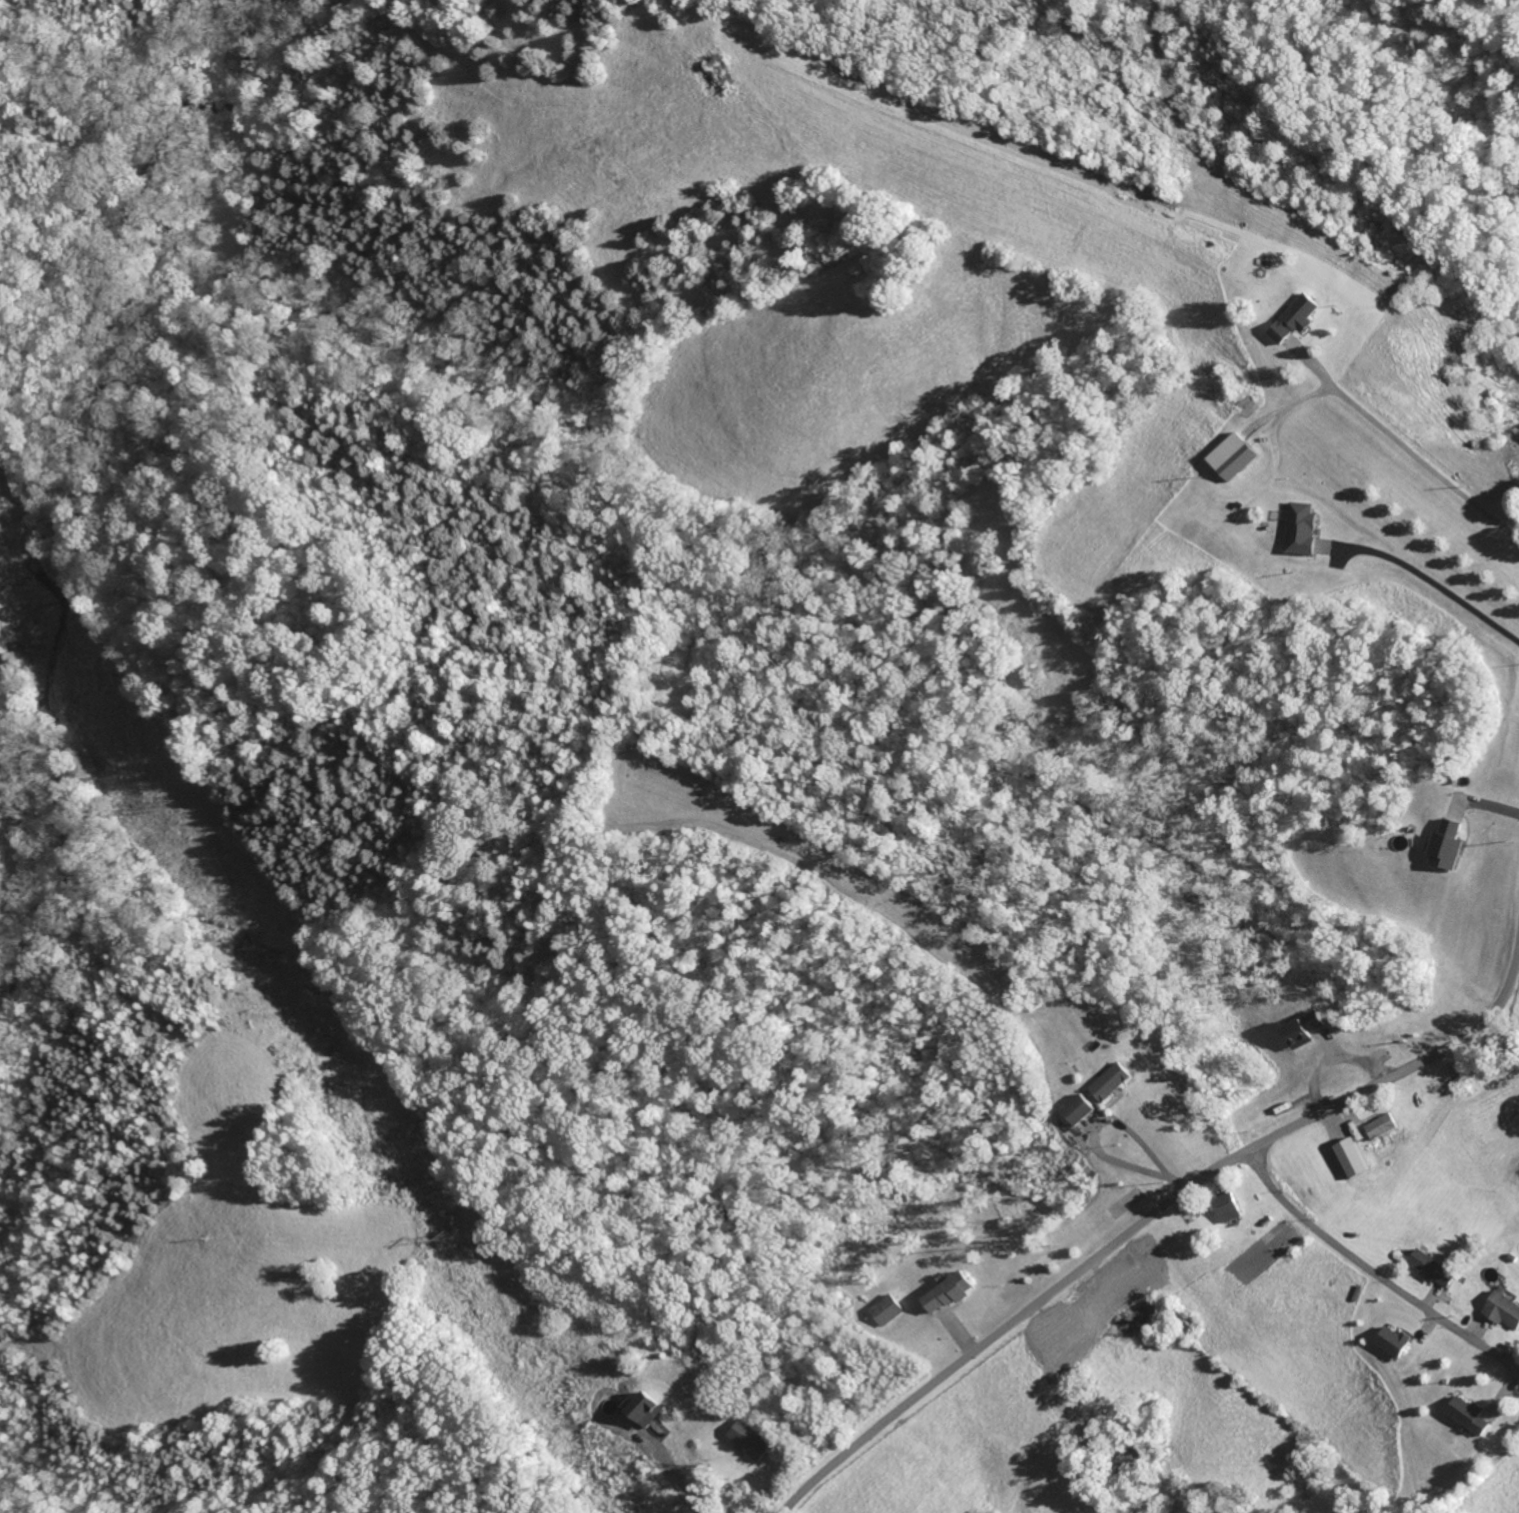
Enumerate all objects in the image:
building: (1298, 318)
road: (1410, 450)
building: (1233, 456)
building: (1302, 528)
road: (1433, 582)
power tower: (172, 796)
building: (1448, 845)
building: (1308, 1029)
park: (1495, 1048)
building: (1113, 1082)
building: (1080, 1110)
road: (1104, 1118)
building: (1376, 1131)
building: (1231, 1208)
road: (1146, 1224)
power tower: (443, 1240)
building: (1140, 1266)
building: (1437, 1267)
road: (1375, 1271)
building: (951, 1291)
building: (1505, 1307)
building: (888, 1308)
building: (1053, 1325)
building: (1396, 1339)
building: (647, 1408)
building: (1472, 1414)
building: (753, 1439)
road: (677, 1477)

